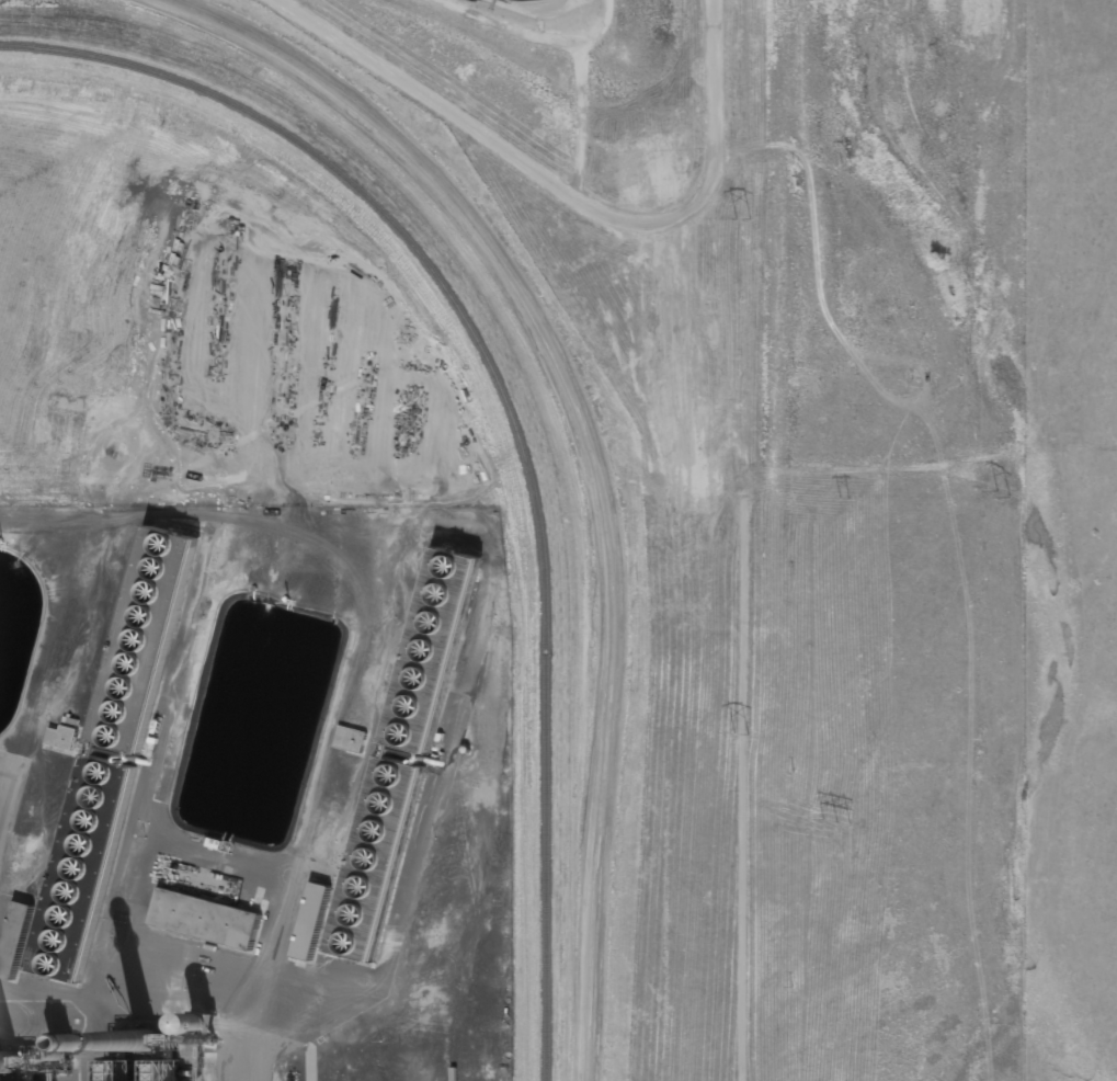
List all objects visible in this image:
power tower: (833, 166)
power tower: (736, 219)
railway: (514, 411)
power tower: (1005, 494)
power tower: (837, 498)
power plant: (514, 540)
building: (64, 732)
power tower: (733, 732)
building: (350, 738)
building: (397, 751)
building: (110, 752)
power tower: (830, 822)
building: (214, 920)
building: (306, 921)
road: (168, 1004)
chimney: (149, 1036)
chimney: (11, 1058)

